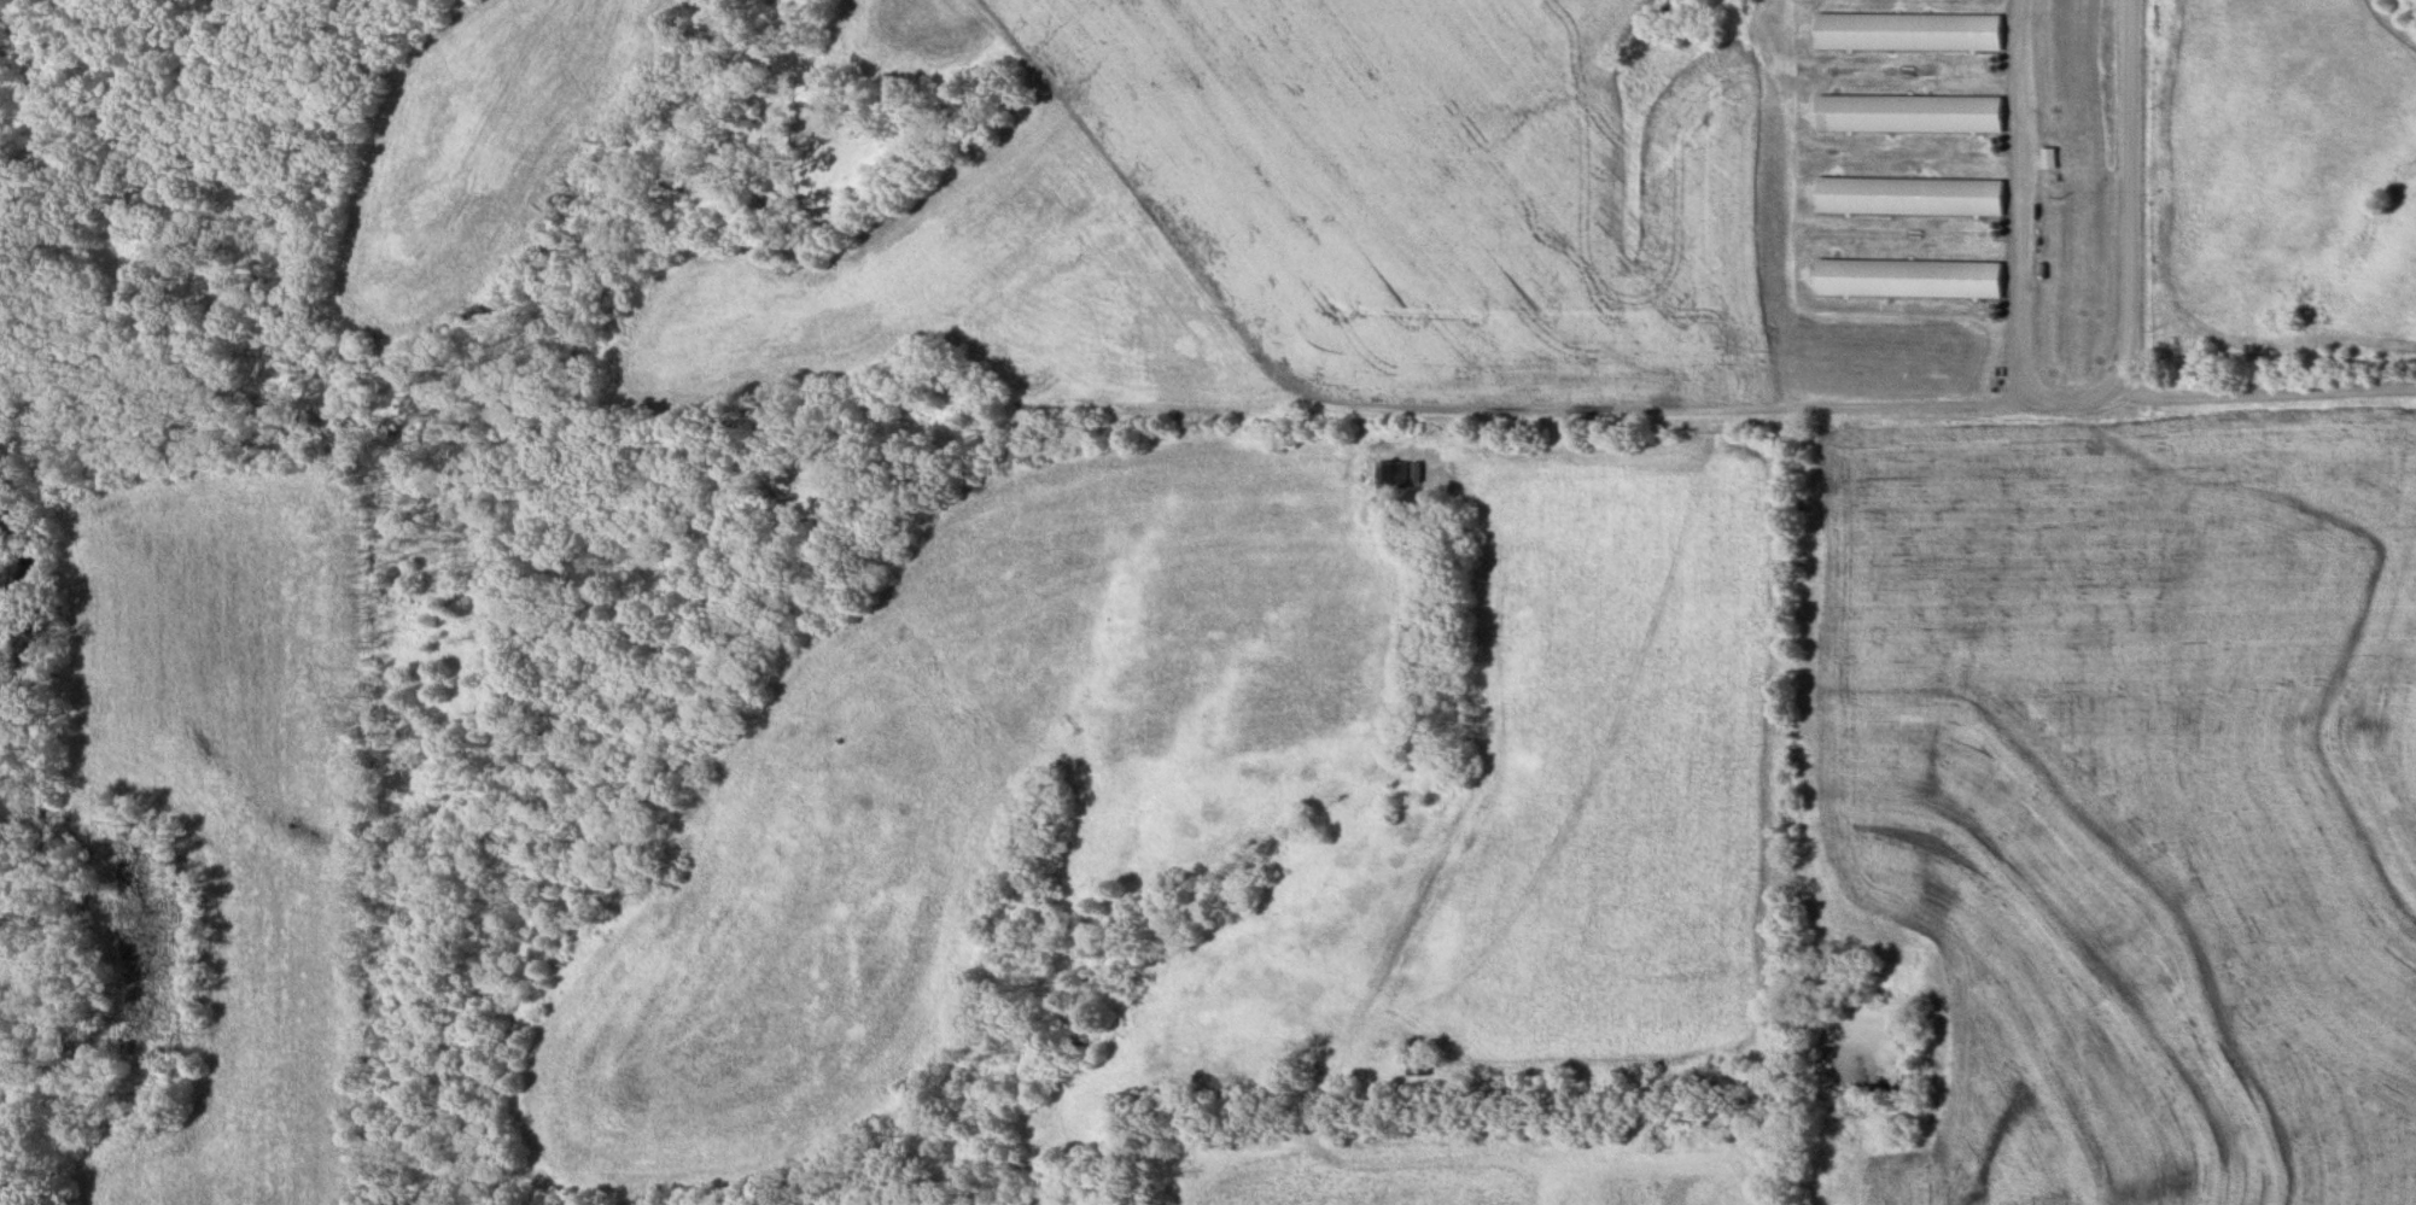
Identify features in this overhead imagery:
building: (1912, 30)
building: (1910, 113)
road: (2128, 175)
building: (1912, 195)
building: (1909, 277)
building: (1395, 474)

